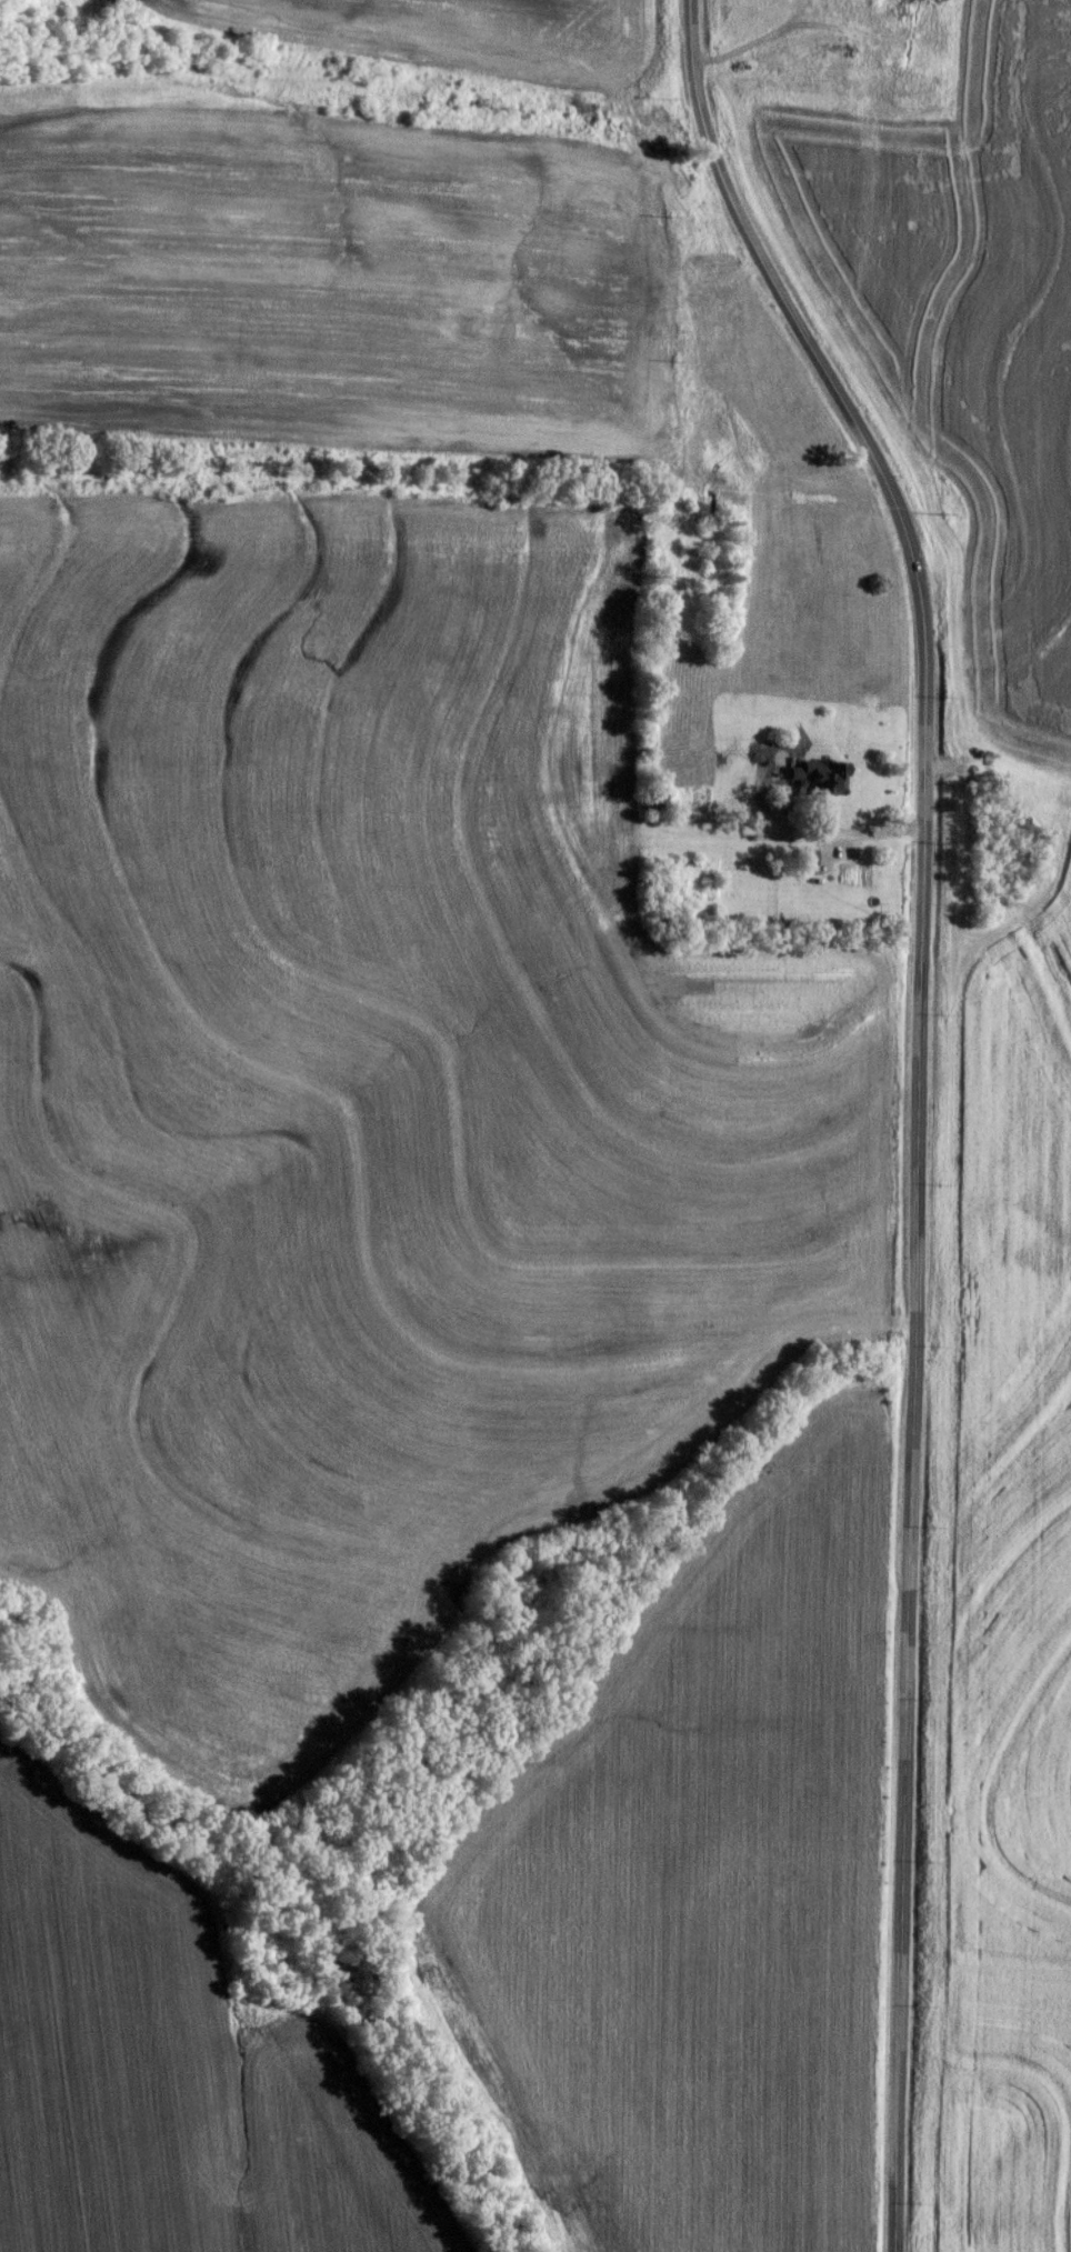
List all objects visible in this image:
building: (867, 3)
building: (821, 775)
building: (654, 802)
road: (844, 840)
road: (913, 1100)

